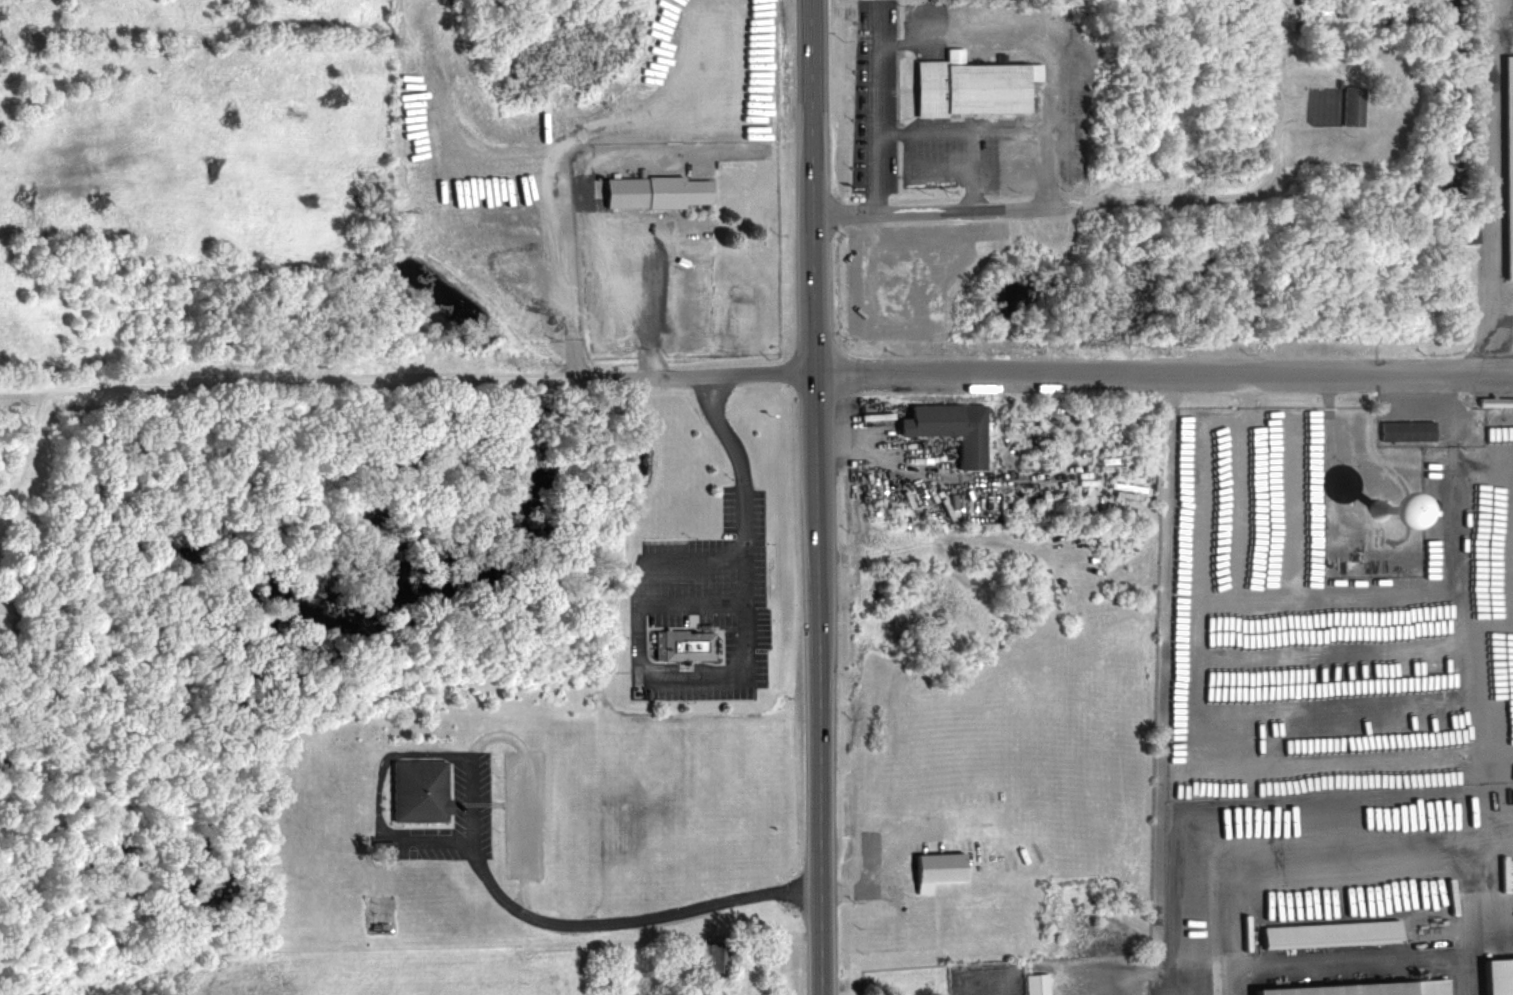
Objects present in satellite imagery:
road: (961, 36)
building: (972, 83)
building: (1332, 103)
road: (645, 125)
building: (1508, 159)
building: (651, 188)
road: (1498, 188)
road: (1134, 199)
road: (567, 227)
road: (920, 330)
road: (576, 342)
road: (1162, 371)
road: (406, 381)
building: (947, 426)
building: (1407, 431)
road: (28, 437)
road: (813, 497)
building: (883, 500)
water tower: (1379, 511)
building: (6, 613)
building: (685, 646)
road: (745, 678)
road: (1229, 683)
building: (417, 792)
road: (1369, 838)
building: (936, 865)
road: (877, 880)
road: (616, 922)
building: (1326, 932)
road: (1362, 961)
building: (709, 963)
building: (1498, 976)
building: (1032, 983)
building: (1361, 988)

